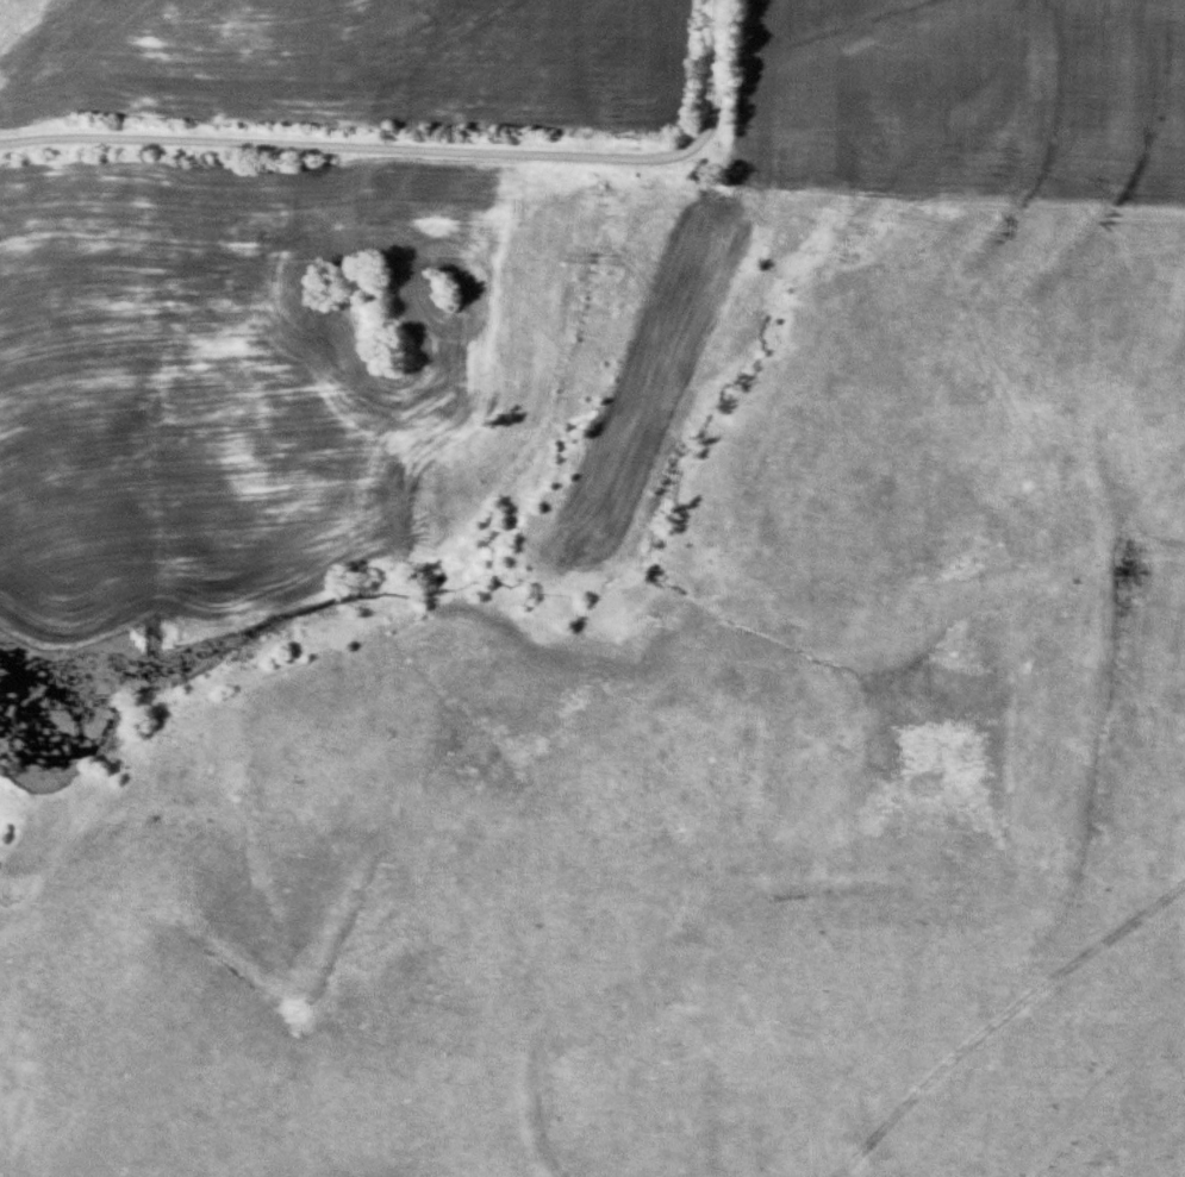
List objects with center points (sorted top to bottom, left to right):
road: (422, 149)

